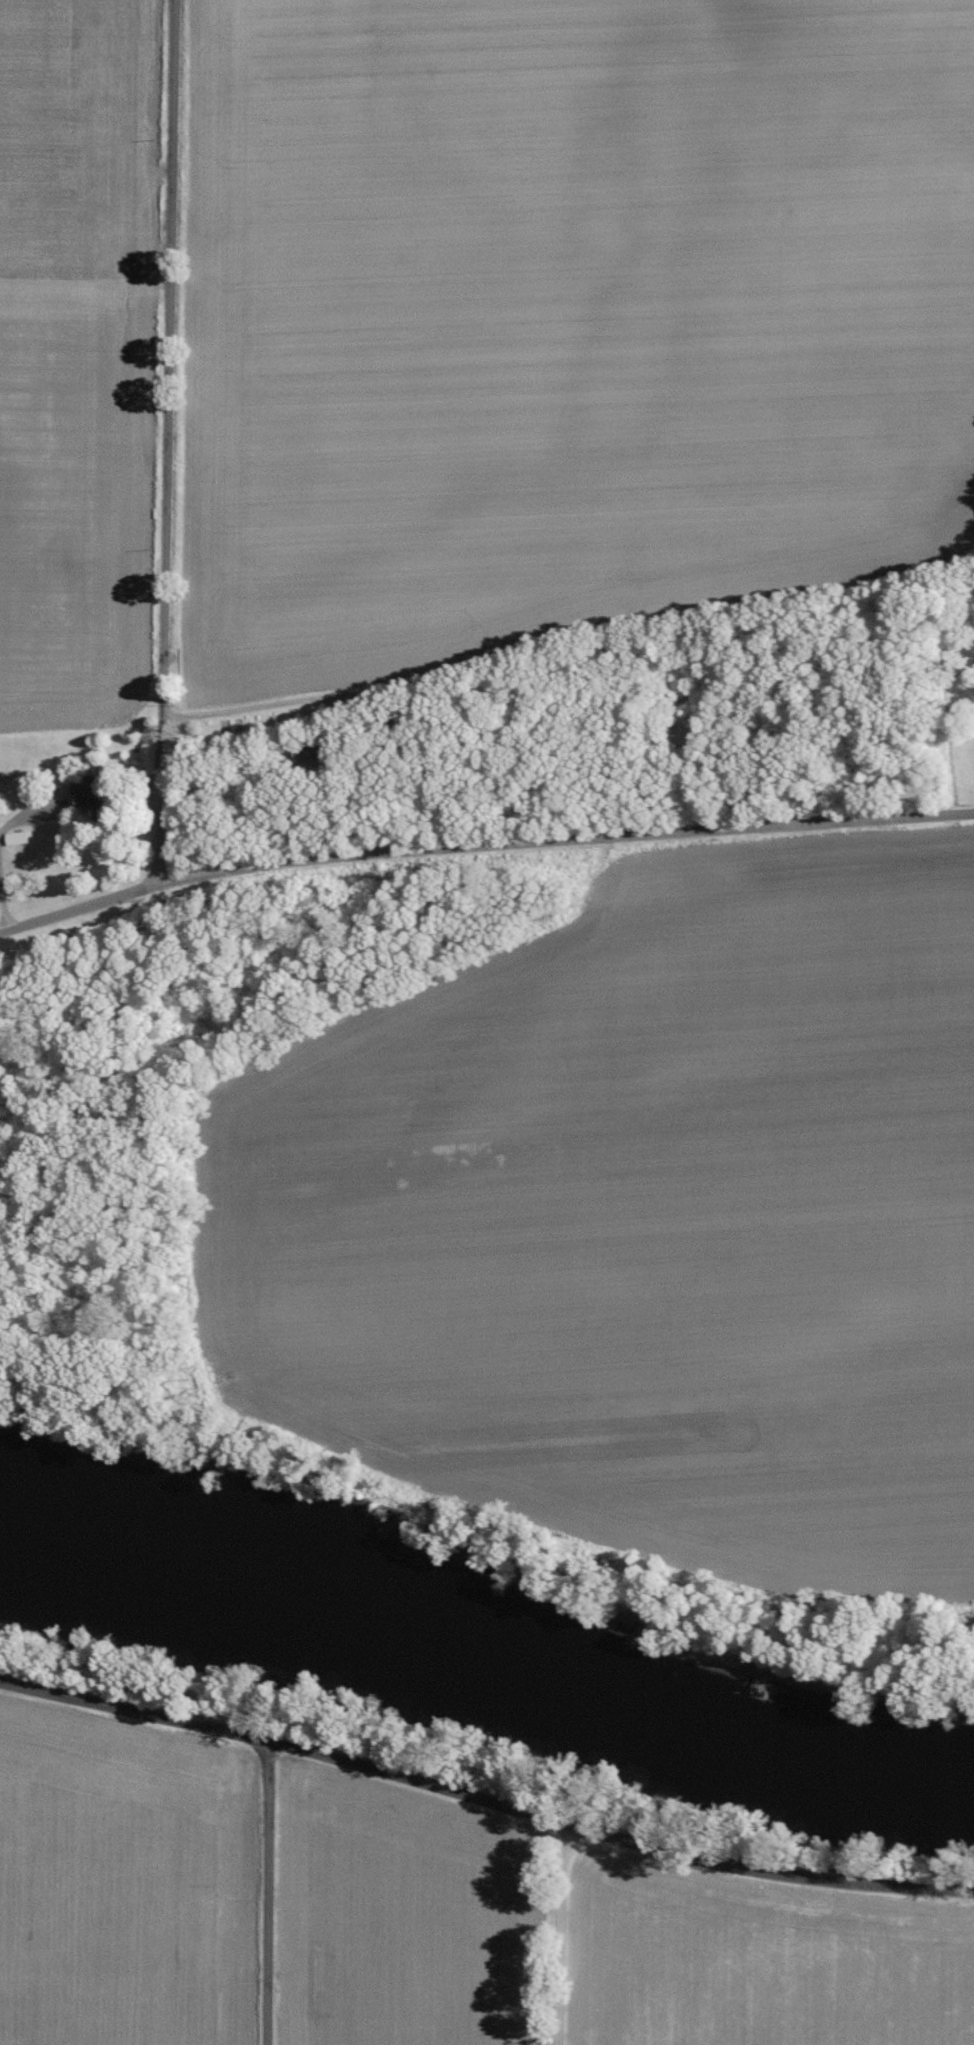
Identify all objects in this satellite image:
road: (159, 444)
road: (568, 650)
building: (90, 795)
road: (30, 816)
road: (483, 857)
river: (482, 1666)
road: (485, 1797)
road: (267, 1891)
road: (557, 1932)

